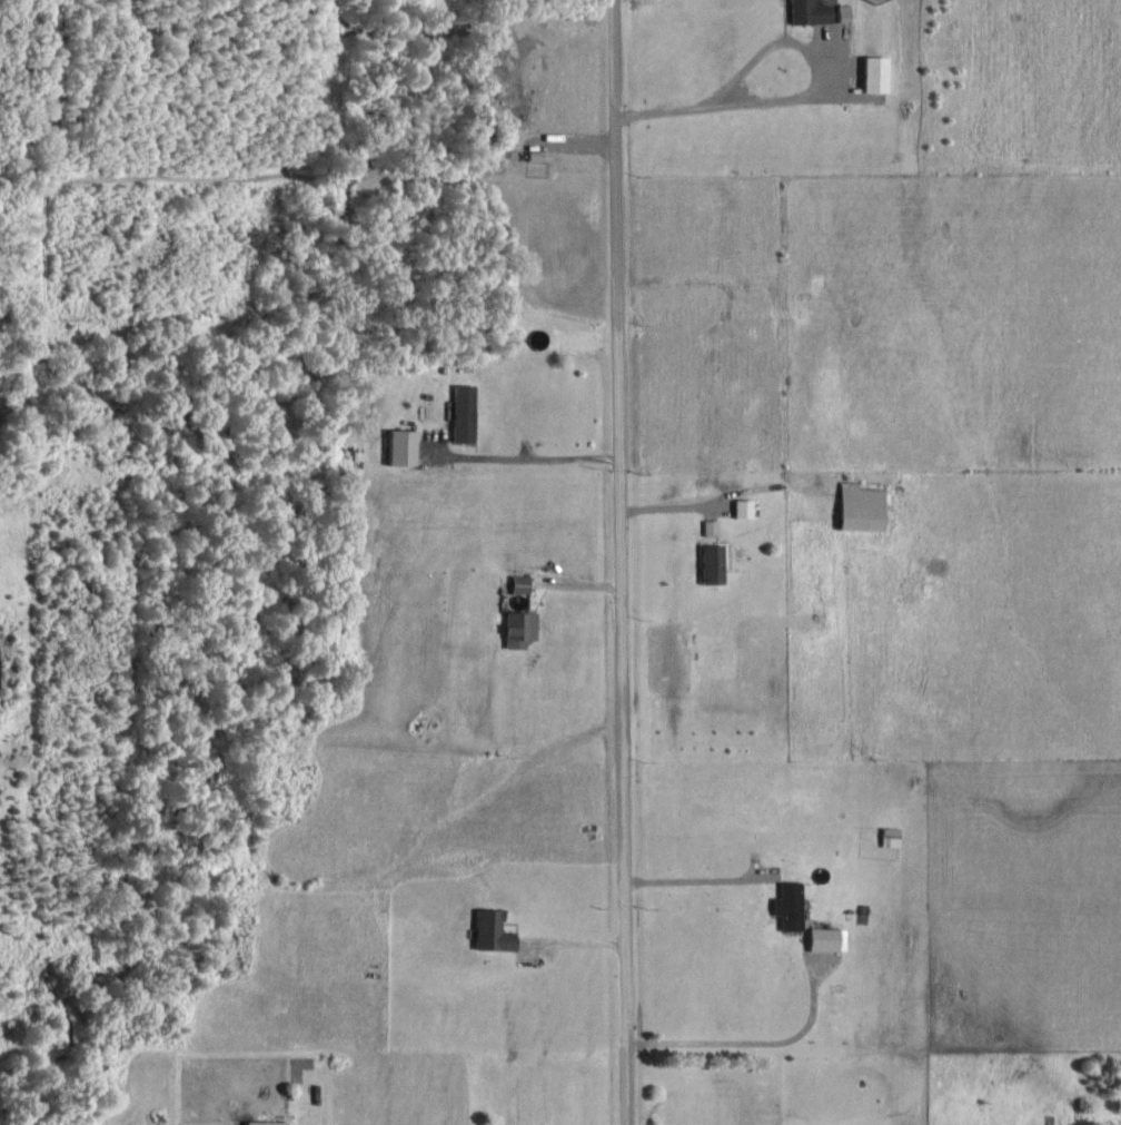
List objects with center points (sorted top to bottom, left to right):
building: (807, 11)
building: (841, 12)
building: (872, 73)
road: (798, 101)
building: (462, 413)
building: (399, 447)
road: (534, 461)
building: (741, 506)
building: (859, 506)
building: (708, 525)
road: (617, 562)
building: (710, 562)
building: (518, 583)
building: (517, 626)
building: (786, 905)
building: (489, 930)
building: (825, 938)
building: (265, 1122)

